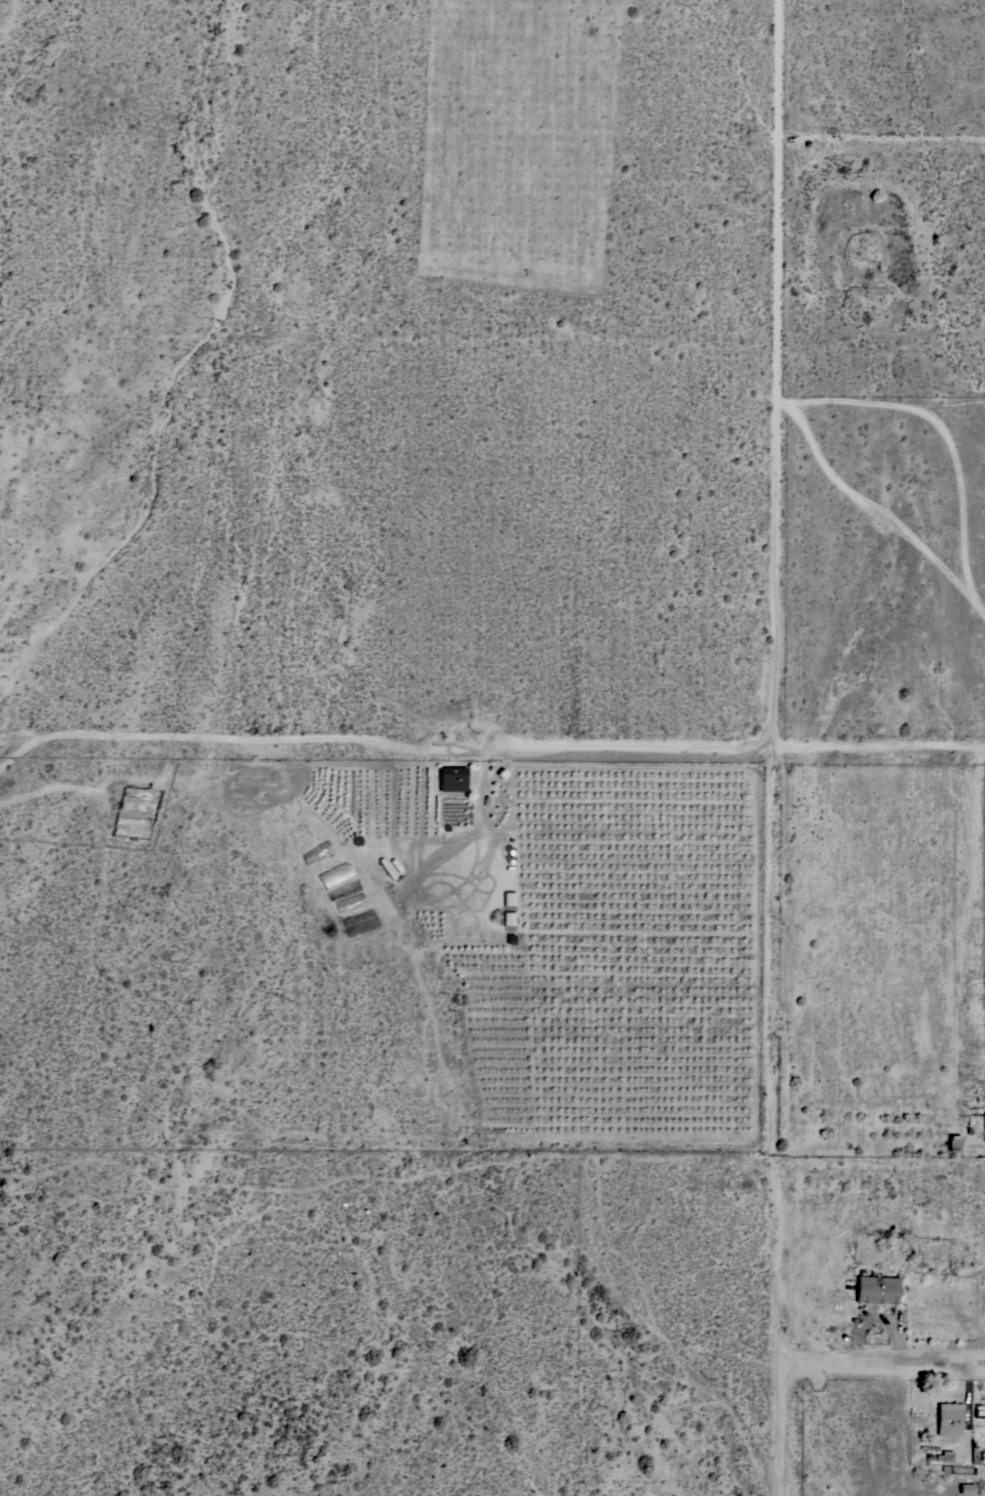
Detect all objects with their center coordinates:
road: (881, 141)
road: (382, 737)
road: (881, 743)
road: (776, 748)
building: (455, 773)
building: (508, 899)
building: (969, 1128)
building: (953, 1142)
building: (876, 1289)
road: (883, 1363)
building: (948, 1419)
building: (976, 1454)
building: (944, 1455)
building: (966, 1489)

